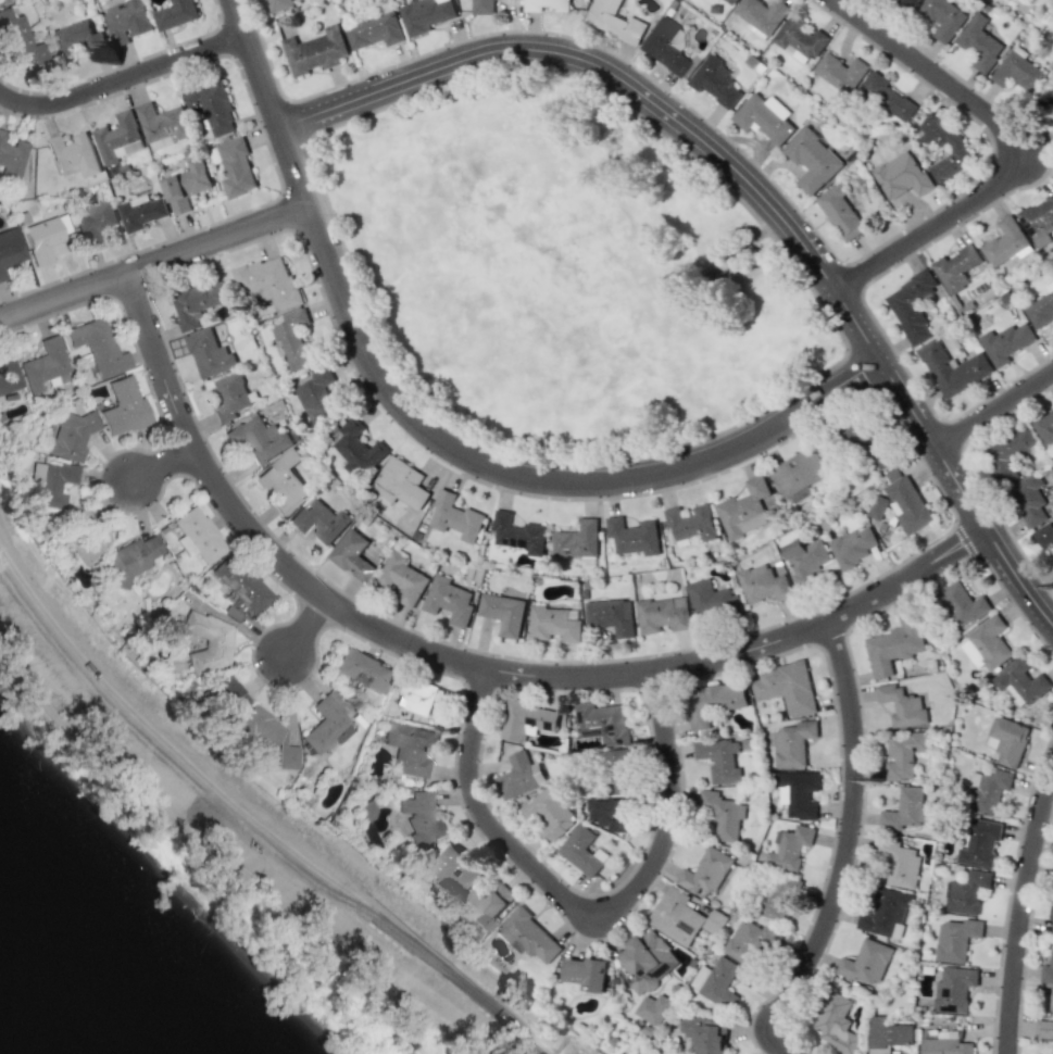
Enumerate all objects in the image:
building: (730, 1)
building: (906, 2)
building: (277, 4)
building: (546, 5)
building: (481, 7)
building: (175, 14)
building: (425, 15)
building: (761, 15)
building: (942, 17)
building: (126, 21)
building: (615, 21)
building: (374, 30)
building: (76, 39)
building: (17, 40)
building: (799, 40)
building: (979, 43)
building: (315, 51)
building: (840, 72)
building: (1017, 72)
road: (123, 79)
building: (715, 81)
building: (886, 98)
building: (1049, 103)
building: (212, 106)
building: (764, 117)
building: (162, 125)
building: (117, 138)
building: (956, 148)
road: (1004, 148)
building: (73, 152)
building: (10, 159)
building: (812, 160)
building: (236, 166)
building: (901, 175)
building: (186, 185)
road: (753, 187)
building: (141, 212)
building: (840, 212)
park: (543, 214)
building: (1038, 221)
building: (93, 222)
building: (40, 238)
building: (1004, 242)
building: (10, 248)
road: (152, 261)
building: (955, 267)
park: (559, 274)
building: (268, 281)
building: (199, 301)
building: (911, 306)
building: (1041, 309)
park: (474, 310)
building: (294, 338)
building: (1005, 342)
building: (98, 347)
building: (209, 354)
building: (43, 364)
building: (952, 368)
building: (9, 377)
building: (315, 392)
building: (230, 397)
building: (123, 406)
road: (992, 407)
building: (1044, 427)
building: (70, 436)
road: (435, 436)
building: (259, 438)
building: (356, 449)
building: (1007, 453)
building: (877, 454)
road: (167, 467)
building: (798, 472)
building: (283, 481)
building: (51, 482)
building: (400, 484)
building: (1029, 499)
building: (900, 503)
building: (745, 509)
building: (454, 517)
building: (84, 519)
building: (318, 520)
building: (690, 523)
building: (517, 534)
building: (1044, 534)
building: (197, 535)
building: (632, 536)
building: (577, 540)
road: (961, 540)
building: (84, 544)
building: (852, 547)
building: (352, 555)
building: (129, 557)
building: (804, 560)
building: (402, 579)
building: (240, 584)
building: (763, 584)
building: (448, 600)
building: (710, 600)
building: (958, 604)
building: (502, 613)
building: (663, 614)
building: (611, 616)
building: (553, 624)
road: (310, 630)
building: (208, 638)
building: (986, 644)
building: (892, 647)
road: (467, 665)
building: (363, 669)
building: (1020, 681)
building: (787, 687)
building: (227, 694)
building: (415, 697)
building: (712, 702)
building: (902, 705)
building: (526, 720)
building: (326, 726)
building: (268, 736)
building: (1006, 740)
building: (792, 743)
building: (409, 749)
building: (903, 754)
building: (718, 760)
building: (617, 769)
building: (519, 776)
building: (986, 790)
building: (798, 793)
road: (251, 808)
building: (904, 810)
building: (364, 812)
building: (549, 813)
building: (609, 813)
building: (723, 814)
building: (422, 818)
building: (980, 843)
building: (789, 848)
building: (582, 850)
road: (843, 851)
building: (898, 863)
building: (456, 868)
building: (705, 871)
building: (966, 892)
building: (778, 895)
building: (486, 905)
road: (584, 905)
road: (1018, 905)
building: (676, 917)
building: (1051, 920)
building: (527, 936)
building: (955, 939)
building: (749, 941)
building: (647, 961)
building: (867, 962)
building: (1046, 971)
building: (586, 973)
building: (716, 982)
building: (953, 989)
building: (652, 1008)
river: (38, 1020)
building: (836, 1024)
building: (1045, 1024)
building: (704, 1033)
building: (887, 1034)
building: (945, 1044)
building: (1052, 1050)

